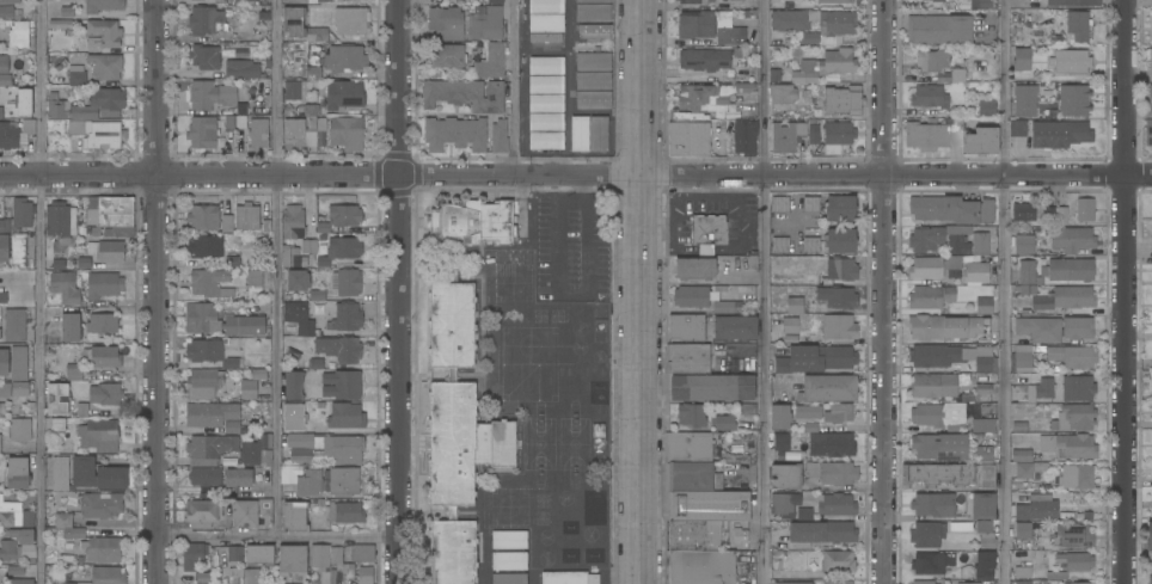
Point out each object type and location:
building: (198, 0)
building: (736, 0)
building: (10, 1)
building: (296, 1)
building: (324, 1)
building: (593, 1)
building: (690, 1)
building: (834, 1)
building: (495, 2)
building: (970, 2)
building: (1072, 2)
building: (103, 5)
building: (546, 6)
building: (717, 6)
building: (6, 12)
building: (67, 13)
building: (593, 13)
building: (206, 20)
building: (725, 20)
building: (353, 21)
building: (293, 23)
building: (485, 23)
building: (546, 23)
building: (446, 24)
building: (61, 25)
building: (1078, 25)
building: (696, 26)
building: (790, 26)
building: (595, 29)
building: (939, 30)
building: (317, 35)
building: (19, 36)
building: (104, 36)
building: (729, 37)
building: (545, 38)
building: (451, 55)
building: (204, 57)
building: (344, 59)
building: (704, 60)
building: (1022, 60)
building: (491, 61)
building: (932, 61)
building: (593, 62)
building: (1071, 62)
building: (1151, 62)
building: (829, 64)
building: (546, 66)
building: (106, 67)
building: (241, 69)
building: (5, 72)
building: (314, 72)
building: (76, 75)
building: (958, 75)
building: (593, 81)
building: (546, 85)
road: (155, 87)
road: (513, 87)
road: (643, 87)
building: (296, 91)
building: (782, 94)
building: (344, 96)
building: (465, 96)
building: (212, 97)
building: (929, 97)
building: (1150, 98)
building: (594, 100)
building: (706, 100)
building: (844, 102)
building: (1025, 102)
building: (1074, 102)
building: (24, 103)
building: (546, 104)
building: (100, 105)
building: (57, 107)
building: (987, 109)
building: (311, 110)
building: (1, 113)
building: (546, 122)
building: (232, 123)
building: (321, 124)
building: (1018, 129)
building: (202, 133)
building: (312, 133)
building: (16, 134)
building: (99, 134)
building: (258, 134)
building: (294, 134)
building: (455, 134)
building: (580, 134)
building: (599, 134)
building: (813, 134)
building: (1148, 134)
building: (347, 135)
building: (1060, 135)
building: (927, 136)
building: (500, 137)
building: (786, 137)
building: (838, 137)
building: (690, 140)
building: (546, 141)
building: (982, 142)
road: (136, 146)
road: (275, 155)
road: (398, 155)
road: (416, 173)
road: (378, 174)
road: (575, 174)
road: (396, 192)
road: (275, 193)
building: (780, 204)
building: (810, 204)
building: (839, 208)
building: (951, 210)
building: (1085, 210)
building: (111, 211)
building: (1024, 213)
building: (1055, 215)
building: (344, 216)
building: (203, 217)
building: (247, 217)
building: (61, 220)
building: (538, 220)
building: (293, 222)
building: (473, 222)
building: (227, 225)
building: (321, 226)
building: (1, 227)
building: (266, 228)
building: (19, 230)
building: (957, 230)
building: (120, 232)
building: (97, 233)
building: (709, 233)
building: (926, 240)
building: (1072, 240)
building: (840, 241)
building: (980, 244)
building: (1024, 244)
building: (780, 245)
building: (811, 245)
building: (206, 246)
building: (958, 246)
building: (310, 247)
building: (4, 248)
building: (341, 251)
building: (110, 252)
building: (293, 258)
building: (232, 259)
building: (952, 263)
building: (85, 264)
building: (60, 266)
road: (277, 269)
building: (696, 269)
building: (926, 269)
building: (1068, 270)
building: (1027, 272)
building: (833, 273)
building: (975, 273)
building: (255, 278)
building: (298, 281)
building: (347, 282)
building: (212, 284)
building: (104, 285)
road: (570, 287)
building: (65, 288)
road: (39, 291)
road: (398, 291)
road: (762, 291)
road: (883, 291)
road: (1004, 291)
road: (1123, 291)
building: (318, 296)
building: (691, 297)
building: (931, 297)
building: (1073, 297)
building: (4, 299)
building: (838, 299)
building: (740, 305)
building: (795, 306)
building: (984, 307)
building: (724, 308)
building: (299, 318)
building: (345, 318)
building: (245, 320)
building: (103, 324)
building: (14, 325)
building: (452, 325)
building: (790, 326)
building: (71, 327)
building: (686, 327)
building: (945, 327)
building: (734, 328)
building: (839, 328)
building: (1077, 328)
building: (1038, 330)
building: (0, 334)
building: (799, 339)
building: (339, 349)
building: (210, 354)
building: (933, 356)
building: (102, 357)
building: (1024, 357)
building: (1073, 357)
building: (687, 358)
building: (815, 359)
building: (4, 363)
building: (19, 364)
building: (318, 364)
building: (984, 364)
building: (69, 374)
road: (155, 380)
road: (642, 380)
building: (204, 385)
building: (293, 386)
building: (342, 386)
building: (933, 386)
building: (712, 388)
building: (828, 388)
building: (20, 389)
building: (984, 389)
building: (1079, 389)
building: (5, 391)
building: (249, 391)
building: (1040, 391)
building: (105, 394)
building: (56, 399)
building: (0, 406)
building: (748, 410)
building: (82, 411)
building: (808, 412)
building: (212, 414)
building: (839, 414)
building: (345, 416)
building: (691, 416)
building: (940, 417)
building: (293, 418)
building: (780, 418)
building: (1062, 420)
building: (725, 423)
building: (59, 425)
building: (984, 426)
building: (232, 428)
building: (20, 430)
building: (99, 436)
building: (301, 442)
building: (782, 443)
building: (0, 444)
building: (319, 444)
building: (832, 444)
building: (940, 447)
building: (1068, 447)
building: (688, 448)
building: (210, 449)
building: (344, 450)
building: (257, 451)
building: (985, 454)
building: (1021, 456)
building: (304, 457)
building: (1029, 469)
building: (813, 472)
building: (17, 474)
building: (459, 474)
building: (838, 474)
building: (61, 475)
building: (98, 475)
building: (938, 475)
building: (204, 477)
building: (987, 477)
building: (1078, 477)
building: (693, 478)
building: (785, 478)
building: (239, 479)
building: (302, 480)
building: (343, 481)
building: (1, 499)
building: (102, 505)
building: (785, 505)
building: (835, 505)
building: (933, 505)
building: (707, 506)
building: (1037, 509)
building: (345, 512)
building: (203, 514)
building: (253, 515)
building: (804, 515)
building: (295, 517)
building: (985, 518)
building: (6, 520)
building: (30, 520)
building: (725, 525)
building: (68, 527)
building: (1023, 531)
building: (822, 533)
building: (740, 535)
building: (927, 535)
building: (694, 536)
building: (1073, 536)
building: (1150, 537)
road: (276, 540)
building: (509, 540)
building: (16, 545)
building: (104, 549)
building: (29, 552)
building: (362, 553)
building: (235, 554)
building: (259, 555)
building: (194, 557)
building: (66, 559)
building: (292, 560)
building: (32, 561)
building: (509, 561)
building: (838, 561)
building: (1070, 563)
building: (330, 564)
building: (929, 564)
building: (985, 565)
building: (700, 567)
building: (16, 572)
building: (1023, 572)
building: (1038, 573)
building: (235, 574)
building: (108, 576)
building: (252, 576)
building: (366, 576)
building: (202, 578)
building: (509, 578)
building: (564, 578)
building: (594, 579)
building: (1150, 579)
building: (20, 582)
building: (838, 582)
building: (923, 582)
building: (792, 583)
building: (968, 583)
building: (1023, 583)
building: (1077, 583)

